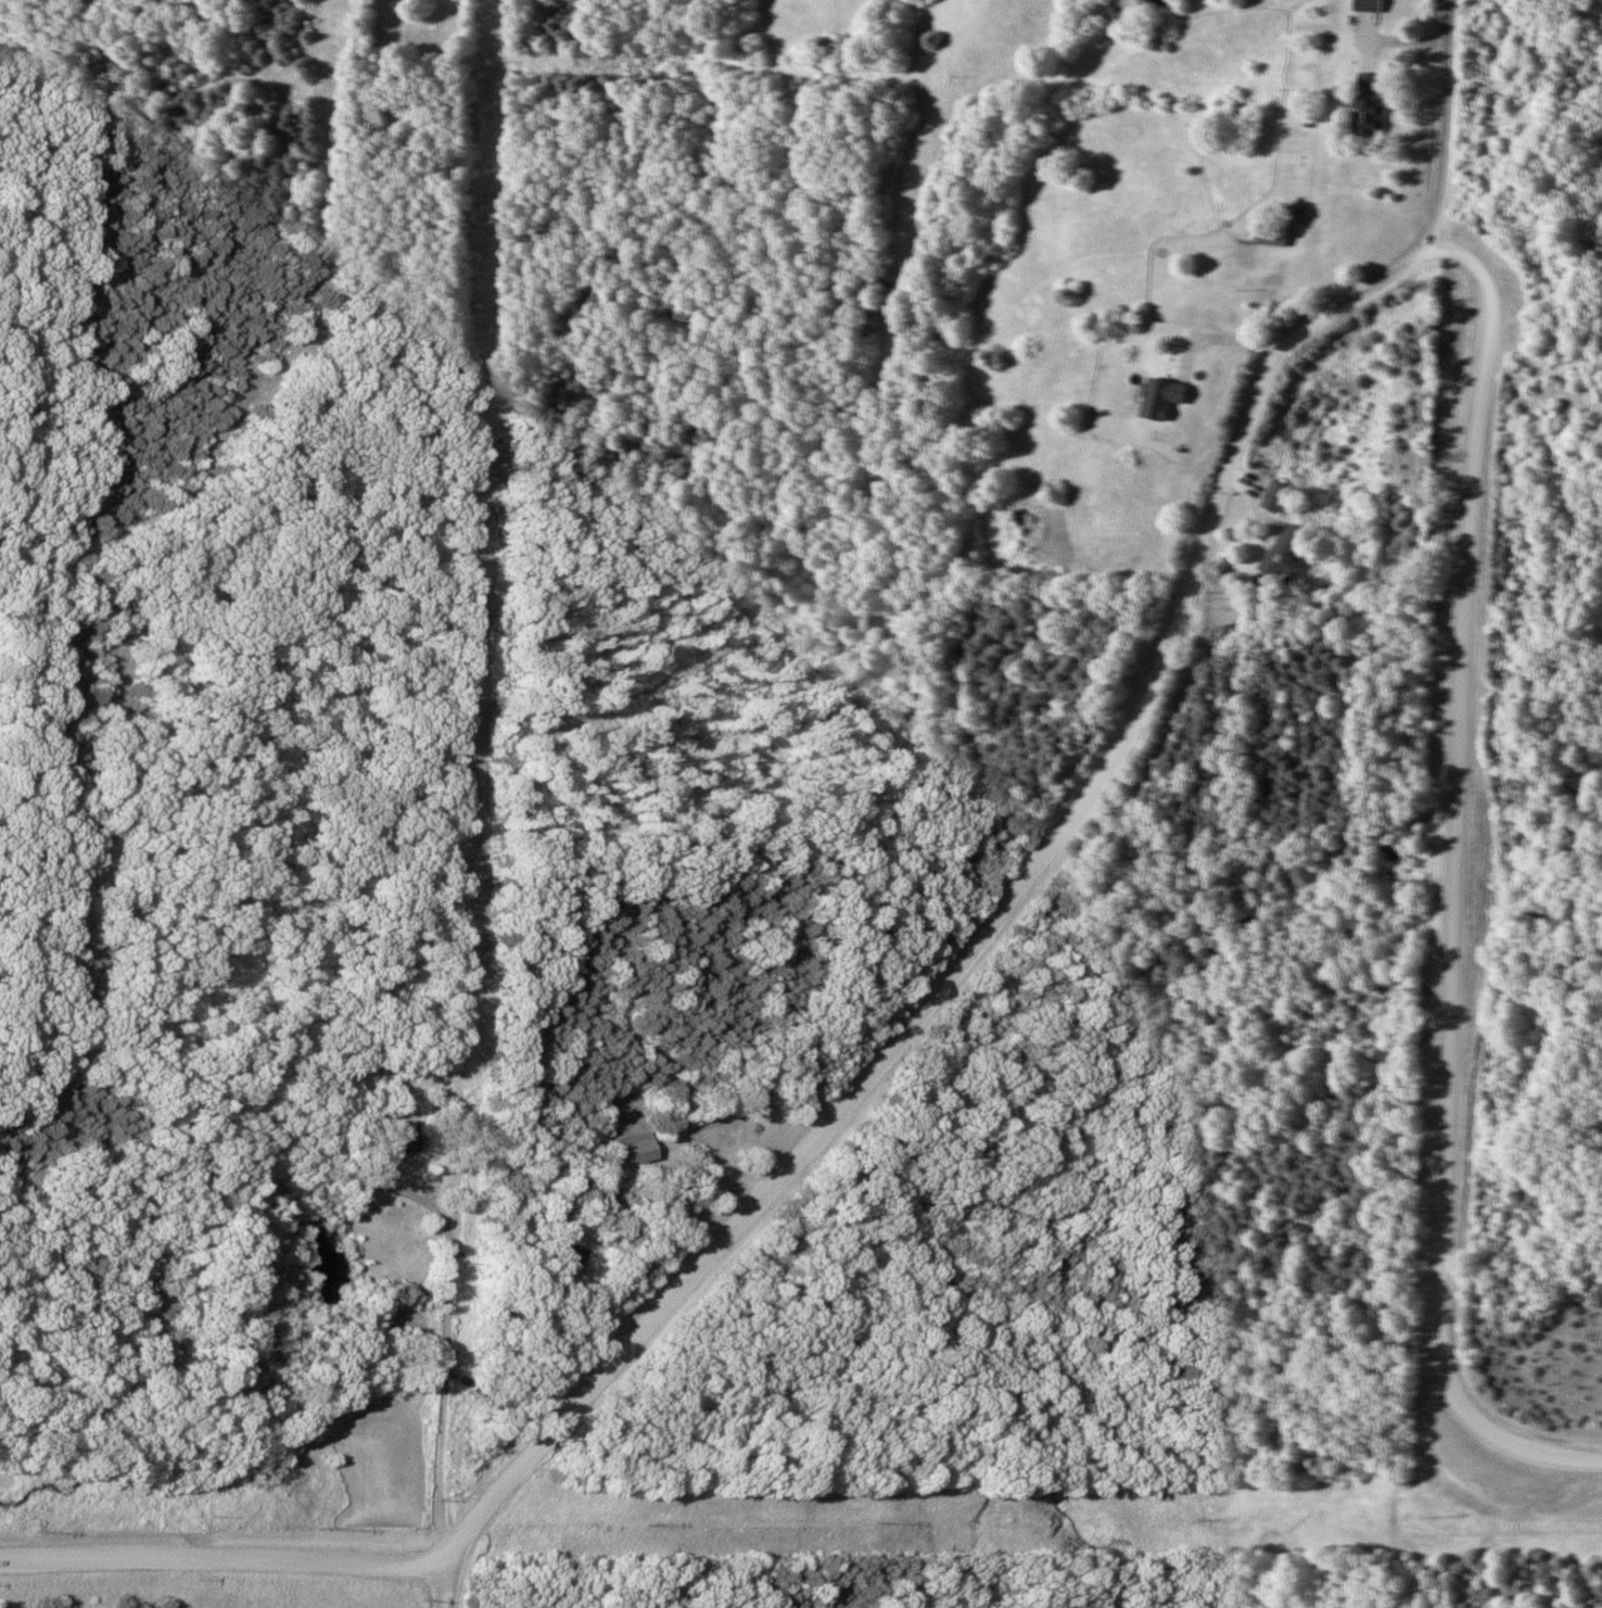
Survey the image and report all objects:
building: (1366, 4)
building: (1368, 109)
building: (1271, 233)
road: (1326, 313)
building: (1274, 496)
building: (1280, 550)
road: (1461, 883)
road: (843, 1110)
building: (403, 1136)
building: (635, 1152)
road: (449, 1375)
road: (232, 1561)
road: (447, 1575)

